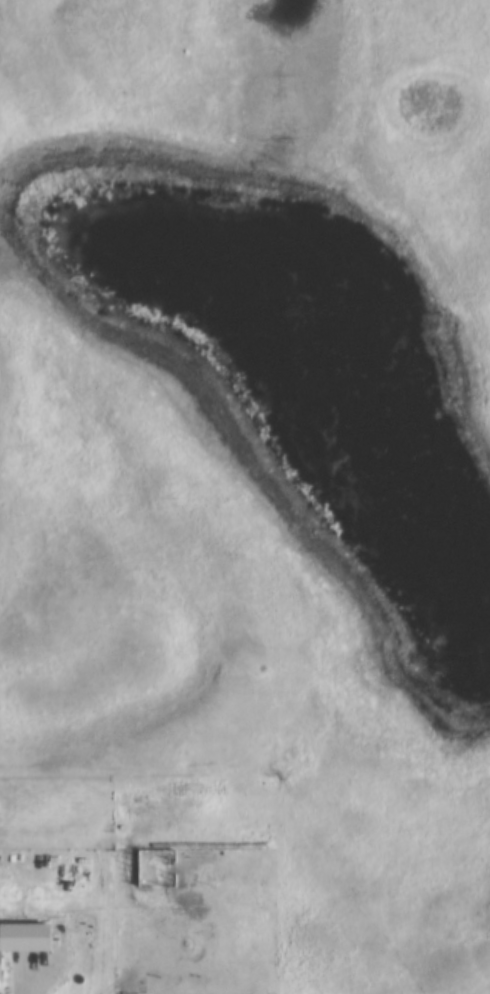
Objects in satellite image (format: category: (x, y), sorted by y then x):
building: (24, 916)
road: (9, 963)
building: (0, 966)

